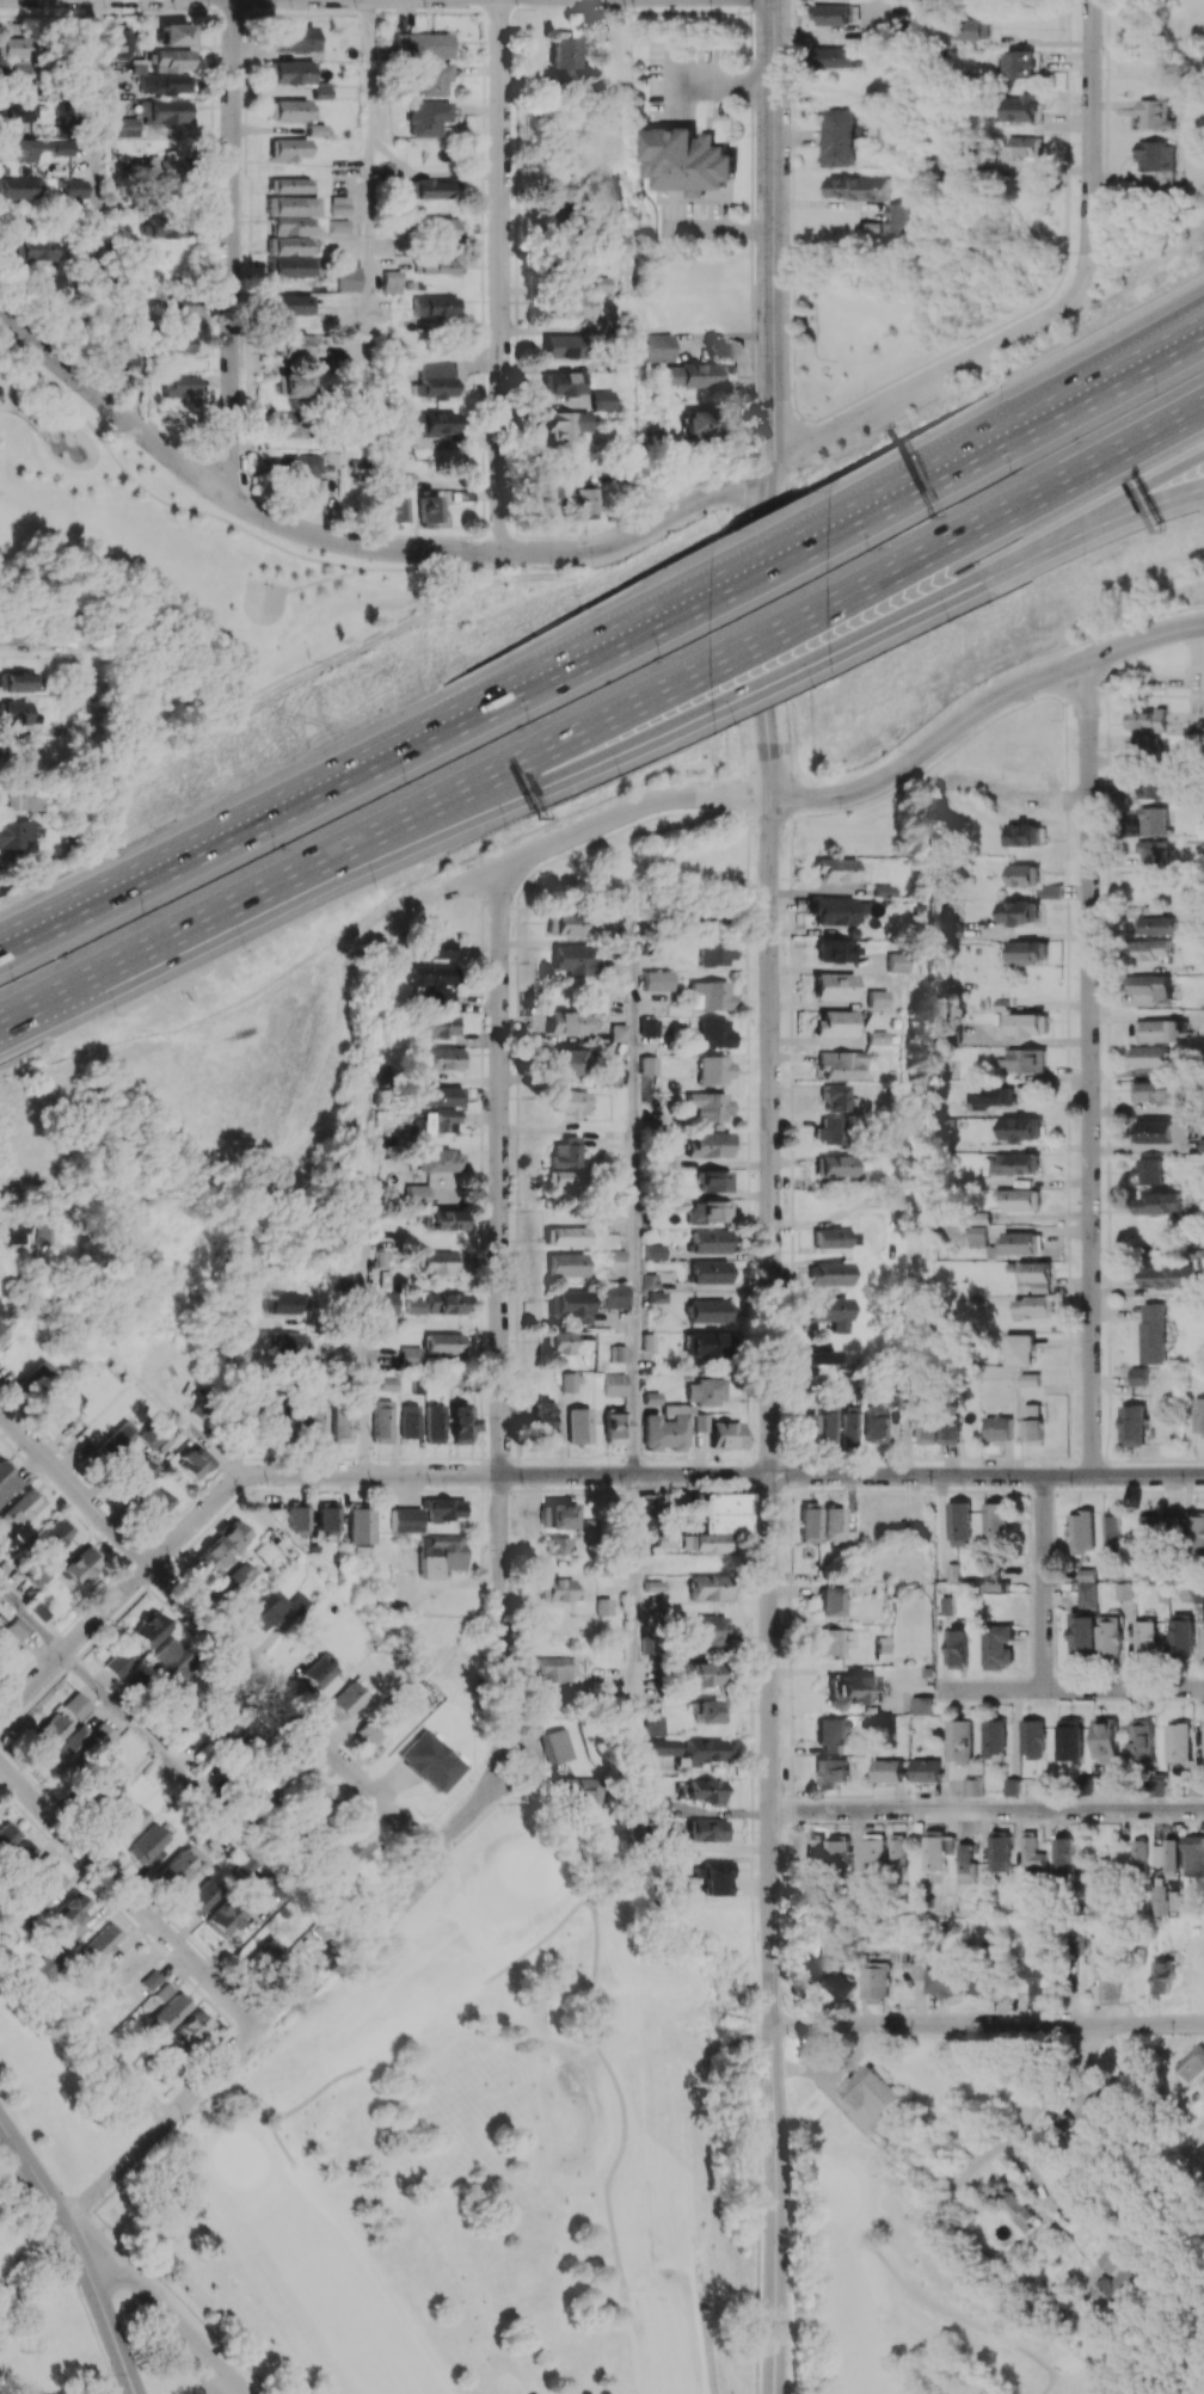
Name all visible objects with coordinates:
building: (829, 13)
building: (970, 29)
building: (176, 33)
building: (293, 38)
building: (117, 41)
building: (423, 45)
building: (12, 47)
building: (836, 57)
building: (170, 61)
building: (563, 61)
building: (1020, 63)
road: (368, 69)
building: (289, 72)
building: (17, 73)
building: (435, 79)
building: (162, 85)
building: (129, 91)
building: (1019, 107)
building: (17, 110)
building: (291, 110)
building: (165, 112)
building: (1154, 115)
building: (430, 117)
road: (1067, 123)
building: (127, 127)
street lamp: (745, 128)
building: (315, 129)
building: (837, 137)
road: (96, 140)
building: (1024, 146)
road: (1091, 147)
building: (33, 148)
building: (288, 149)
building: (1156, 155)
building: (686, 160)
building: (158, 166)
road: (430, 174)
building: (291, 185)
building: (21, 187)
building: (855, 187)
building: (436, 189)
building: (554, 190)
building: (72, 191)
street lamp: (1075, 193)
building: (339, 204)
building: (291, 205)
building: (893, 217)
building: (290, 226)
building: (167, 228)
building: (440, 228)
road: (772, 230)
building: (614, 245)
building: (289, 246)
road: (233, 248)
building: (35, 250)
street lamp: (747, 254)
road: (368, 258)
building: (290, 266)
building: (432, 266)
road: (502, 275)
building: (391, 282)
building: (598, 284)
street lamp: (1155, 289)
road: (792, 293)
building: (291, 304)
building: (178, 306)
building: (434, 306)
building: (567, 306)
road: (999, 325)
park: (883, 326)
street lamp: (969, 333)
building: (180, 343)
building: (296, 345)
building: (561, 346)
building: (659, 347)
street lamp: (1037, 355)
road: (21, 356)
building: (129, 359)
street lamp: (38, 363)
building: (694, 375)
building: (440, 379)
road: (929, 382)
building: (561, 383)
building: (291, 384)
road: (48, 388)
building: (182, 388)
street lamp: (864, 388)
street lamp: (1154, 395)
building: (600, 399)
road: (1019, 416)
road: (26, 417)
building: (435, 423)
building: (289, 424)
building: (696, 424)
building: (564, 425)
street lamp: (116, 429)
street lamp: (914, 430)
road: (1018, 433)
street lamp: (745, 436)
building: (297, 464)
street lamp: (1012, 472)
street lamp: (179, 484)
street lamp: (809, 491)
building: (547, 499)
building: (583, 503)
road: (1016, 504)
road: (192, 510)
building: (395, 510)
building: (429, 510)
road: (1092, 513)
street lamp: (706, 517)
street lamp: (744, 521)
road: (1089, 527)
street lamp: (732, 530)
street lamp: (264, 533)
road: (358, 543)
street lamp: (868, 549)
street lamp: (1086, 559)
street lamp: (355, 560)
road: (769, 561)
road: (558, 566)
street lamp: (596, 567)
park: (160, 576)
road: (324, 580)
park: (264, 601)
street lamp: (582, 608)
road: (913, 609)
street lamp: (946, 622)
road: (773, 630)
road: (769, 634)
street lamp: (1093, 641)
road: (584, 656)
street lamp: (661, 657)
road: (778, 675)
street lamp: (437, 681)
building: (17, 682)
road: (91, 682)
street lamp: (809, 688)
street lamp: (978, 688)
road: (985, 707)
building: (13, 712)
street lamp: (1059, 718)
building: (1144, 720)
street lamp: (528, 722)
street lamp: (730, 725)
street lamp: (308, 749)
building: (1142, 749)
street lamp: (898, 750)
building: (14, 752)
street lamp: (616, 776)
street lamp: (701, 782)
street lamp: (406, 783)
building: (1153, 786)
building: (18, 798)
road: (1016, 798)
street lamp: (842, 808)
road: (276, 816)
road: (387, 818)
building: (1153, 820)
street lamp: (570, 821)
street lamp: (148, 826)
road: (594, 826)
street lamp: (506, 830)
building: (14, 832)
building: (1021, 835)
street lamp: (275, 849)
road: (392, 853)
building: (1153, 853)
building: (835, 869)
building: (1022, 874)
street lamp: (447, 875)
street lamp: (374, 886)
street lamp: (23, 891)
street lamp: (512, 901)
building: (837, 911)
building: (1019, 912)
street lamp: (143, 915)
building: (564, 923)
building: (1159, 923)
road: (47, 929)
street lamp: (757, 930)
road: (47, 935)
building: (437, 949)
building: (1150, 949)
street lamp: (244, 950)
building: (836, 950)
building: (1027, 950)
building: (715, 952)
building: (571, 959)
building: (896, 962)
building: (431, 976)
street lamp: (12, 980)
building: (658, 980)
building: (1149, 985)
building: (835, 986)
building: (711, 996)
road: (33, 998)
building: (877, 998)
building: (442, 1001)
street lamp: (116, 1015)
building: (569, 1022)
building: (835, 1023)
building: (1025, 1024)
building: (440, 1026)
building: (649, 1027)
building: (1159, 1030)
building: (618, 1032)
building: (714, 1034)
building: (876, 1038)
building: (1148, 1056)
building: (444, 1058)
building: (1022, 1059)
building: (566, 1061)
building: (841, 1064)
road: (1089, 1064)
building: (649, 1065)
building: (713, 1069)
building: (608, 1073)
building: (1157, 1091)
building: (440, 1096)
building: (988, 1096)
building: (837, 1098)
building: (569, 1102)
building: (709, 1106)
building: (435, 1121)
road: (635, 1127)
building: (1020, 1128)
building: (830, 1131)
building: (1163, 1131)
building: (708, 1144)
building: (1203, 1144)
building: (564, 1153)
building: (440, 1161)
building: (1016, 1163)
building: (838, 1165)
building: (1151, 1170)
building: (564, 1178)
building: (714, 1181)
road: (6, 1182)
building: (417, 1194)
building: (1018, 1199)
building: (1163, 1204)
building: (709, 1212)
building: (446, 1219)
building: (14, 1229)
building: (563, 1236)
building: (834, 1237)
building: (976, 1237)
building: (711, 1241)
building: (1018, 1243)
building: (655, 1251)
building: (382, 1258)
building: (440, 1262)
building: (564, 1264)
building: (709, 1272)
building: (829, 1274)
building: (1034, 1274)
building: (1168, 1276)
building: (651, 1281)
building: (339, 1282)
building: (613, 1296)
building: (656, 1297)
building: (289, 1303)
building: (443, 1303)
building: (414, 1305)
building: (569, 1305)
building: (1032, 1306)
building: (386, 1311)
building: (709, 1311)
building: (831, 1312)
road: (500, 1321)
building: (1, 1333)
building: (1154, 1333)
building: (559, 1342)
building: (444, 1343)
building: (706, 1344)
building: (291, 1346)
building: (1019, 1349)
building: (618, 1353)
building: (411, 1355)
building: (818, 1356)
road: (365, 1371)
building: (1138, 1376)
building: (38, 1379)
building: (1031, 1379)
building: (567, 1381)
road: (238, 1383)
building: (388, 1384)
building: (614, 1384)
building: (705, 1391)
building: (893, 1396)
building: (67, 1409)
building: (1199, 1414)
building: (540, 1417)
building: (382, 1421)
building: (410, 1421)
building: (701, 1422)
building: (1034, 1422)
building: (270, 1423)
building: (434, 1423)
building: (460, 1423)
building: (874, 1423)
building: (317, 1424)
building: (343, 1424)
building: (1134, 1424)
road: (189, 1426)
building: (578, 1426)
building: (848, 1426)
building: (928, 1426)
building: (614, 1427)
building: (828, 1427)
building: (1001, 1427)
building: (666, 1428)
building: (807, 1428)
building: (950, 1432)
building: (150, 1435)
building: (727, 1435)
building: (121, 1441)
building: (195, 1461)
building: (137, 1471)
road: (552, 1473)
building: (7, 1481)
building: (155, 1501)
building: (446, 1508)
building: (20, 1509)
building: (647, 1512)
building: (299, 1515)
building: (555, 1515)
building: (328, 1516)
building: (406, 1519)
building: (995, 1520)
building: (715, 1522)
building: (809, 1522)
building: (958, 1524)
building: (831, 1525)
building: (1154, 1530)
building: (360, 1531)
building: (1081, 1531)
building: (1112, 1532)
building: (54, 1534)
building: (1197, 1536)
building: (664, 1540)
building: (222, 1545)
building: (558, 1545)
building: (440, 1555)
building: (81, 1564)
building: (36, 1575)
building: (238, 1578)
road: (1042, 1582)
building: (709, 1588)
building: (1087, 1588)
building: (557, 1589)
building: (1123, 1592)
building: (1198, 1594)
road: (772, 1595)
building: (833, 1601)
building: (299, 1602)
building: (603, 1606)
building: (265, 1610)
road: (32, 1618)
road: (213, 1626)
building: (17, 1627)
building: (150, 1629)
building: (701, 1631)
building: (1082, 1635)
building: (1144, 1636)
building: (1180, 1636)
building: (1108, 1638)
building: (831, 1643)
building: (881, 1644)
building: (999, 1647)
building: (958, 1649)
road: (634, 1651)
building: (171, 1663)
building: (117, 1666)
building: (559, 1669)
building: (319, 1670)
building: (696, 1675)
road: (1070, 1688)
building: (852, 1691)
building: (346, 1700)
building: (921, 1704)
building: (75, 1705)
building: (707, 1712)
building: (1203, 1718)
building: (653, 1725)
building: (50, 1731)
building: (368, 1733)
building: (103, 1734)
building: (833, 1735)
building: (1033, 1737)
building: (995, 1738)
building: (1069, 1738)
building: (1106, 1738)
building: (254, 1740)
building: (960, 1741)
building: (1142, 1741)
building: (1178, 1742)
building: (563, 1744)
building: (661, 1747)
building: (66, 1749)
building: (700, 1752)
building: (431, 1761)
building: (927, 1770)
building: (889, 1771)
building: (278, 1772)
building: (830, 1772)
building: (1157, 1784)
building: (1194, 1785)
building: (103, 1786)
building: (975, 1786)
building: (1013, 1786)
road: (196, 1787)
building: (582, 1790)
building: (704, 1791)
building: (319, 1804)
building: (657, 1804)
road: (988, 1809)
road: (471, 1817)
building: (129, 1823)
building: (708, 1830)
building: (7, 1834)
building: (669, 1841)
building: (149, 1846)
building: (362, 1846)
building: (935, 1850)
building: (23, 1851)
building: (817, 1851)
building: (842, 1851)
building: (877, 1851)
building: (1000, 1851)
building: (901, 1852)
building: (1033, 1852)
building: (1141, 1854)
building: (1159, 1855)
building: (1173, 1855)
building: (1194, 1855)
building: (1064, 1857)
building: (182, 1864)
building: (967, 1865)
building: (247, 1866)
building: (715, 1876)
building: (47, 1887)
road: (127, 1893)
building: (203, 1896)
building: (1160, 1900)
building: (72, 1908)
building: (225, 1918)
road: (754, 1933)
building: (1075, 1944)
building: (102, 1947)
road: (597, 1955)
building: (271, 1961)
building: (47, 1967)
building: (137, 1973)
building: (1162, 1975)
building: (823, 1976)
building: (946, 1978)
building: (1039, 1978)
building: (874, 1980)
building: (985, 1981)
building: (1106, 1983)
building: (164, 1992)
building: (167, 2014)
road: (988, 2023)
road: (86, 2027)
building: (190, 2029)
building: (1191, 2063)
building: (870, 2090)
road: (302, 2104)
road: (1028, 2118)
building: (1062, 2119)
road: (167, 2121)
road: (37, 2164)
park: (553, 2174)
road: (37, 2178)
road: (1037, 2183)
road: (19, 2186)
building: (1019, 2209)
park: (79, 2222)
building: (1113, 2259)
road: (14, 2273)
road: (1008, 2282)
building: (1120, 2287)
road: (81, 2298)
road: (158, 2304)
road: (103, 2306)
road: (963, 2321)
parking lot: (236, 2381)

